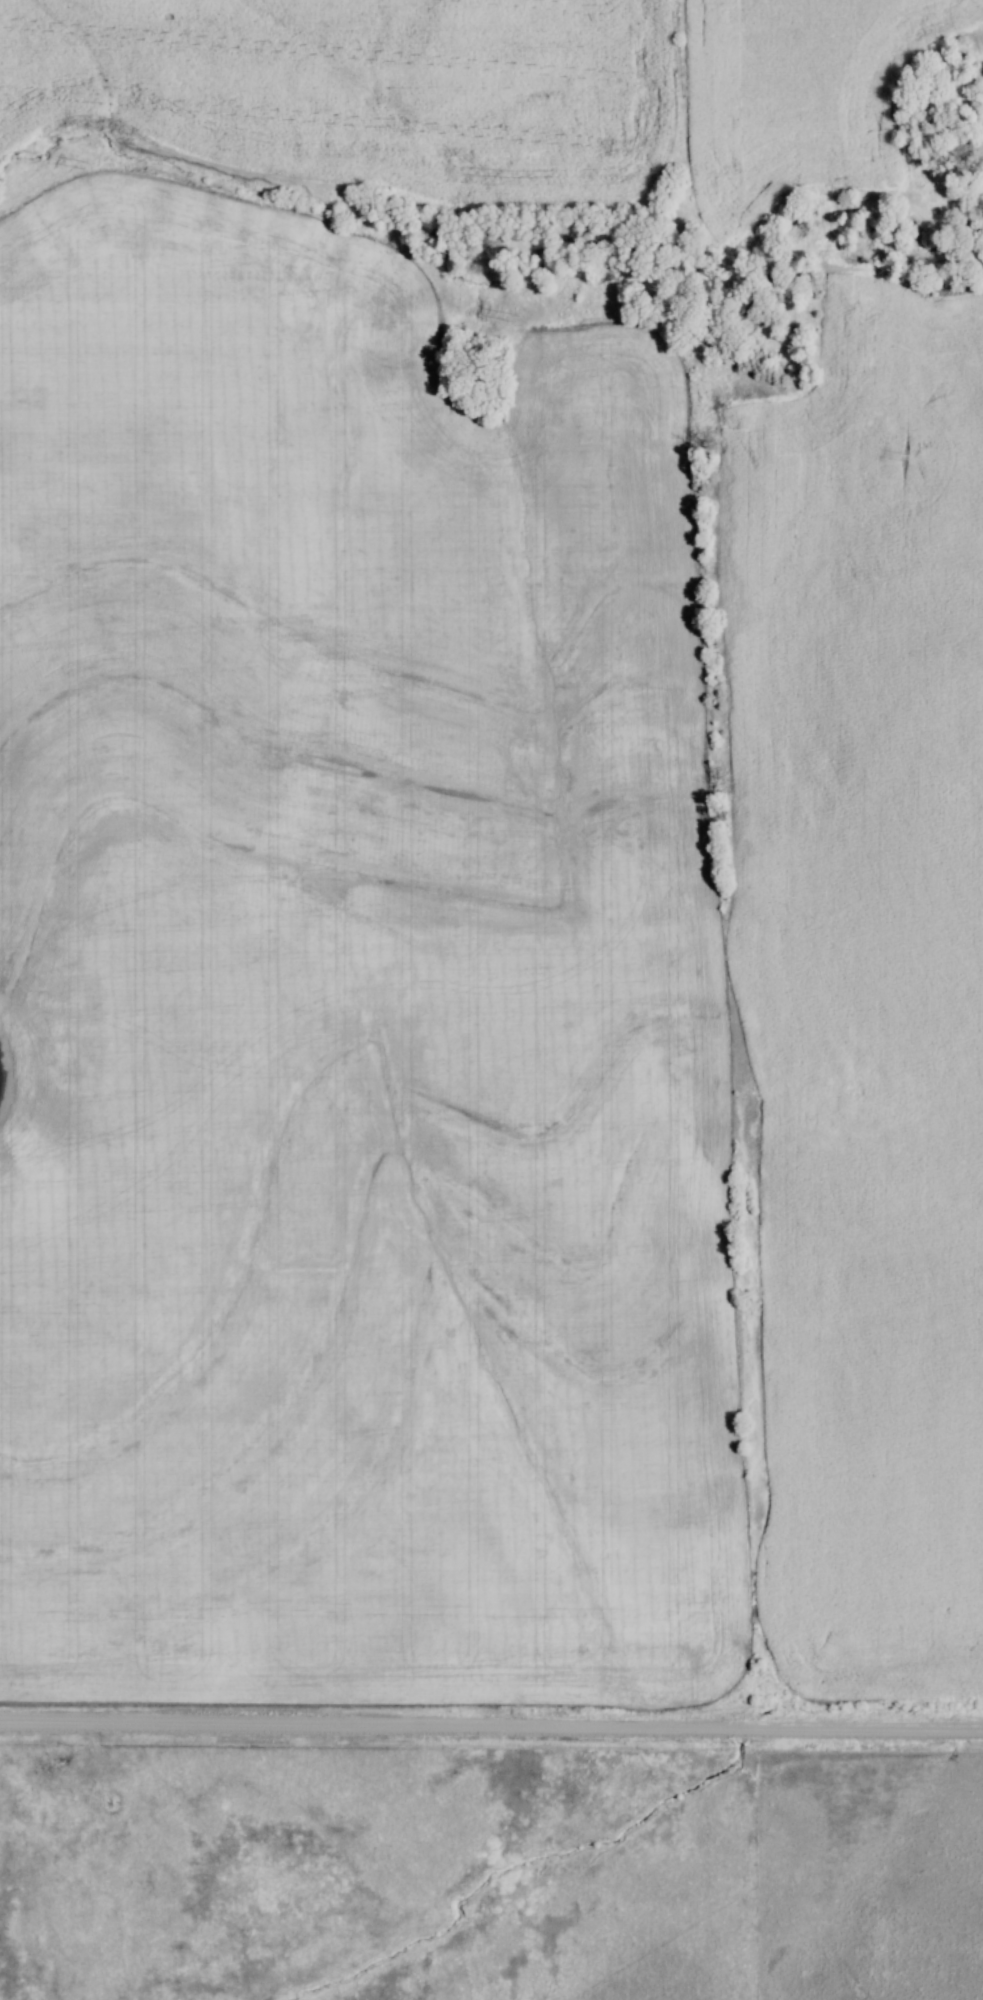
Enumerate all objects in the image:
road: (491, 1727)

